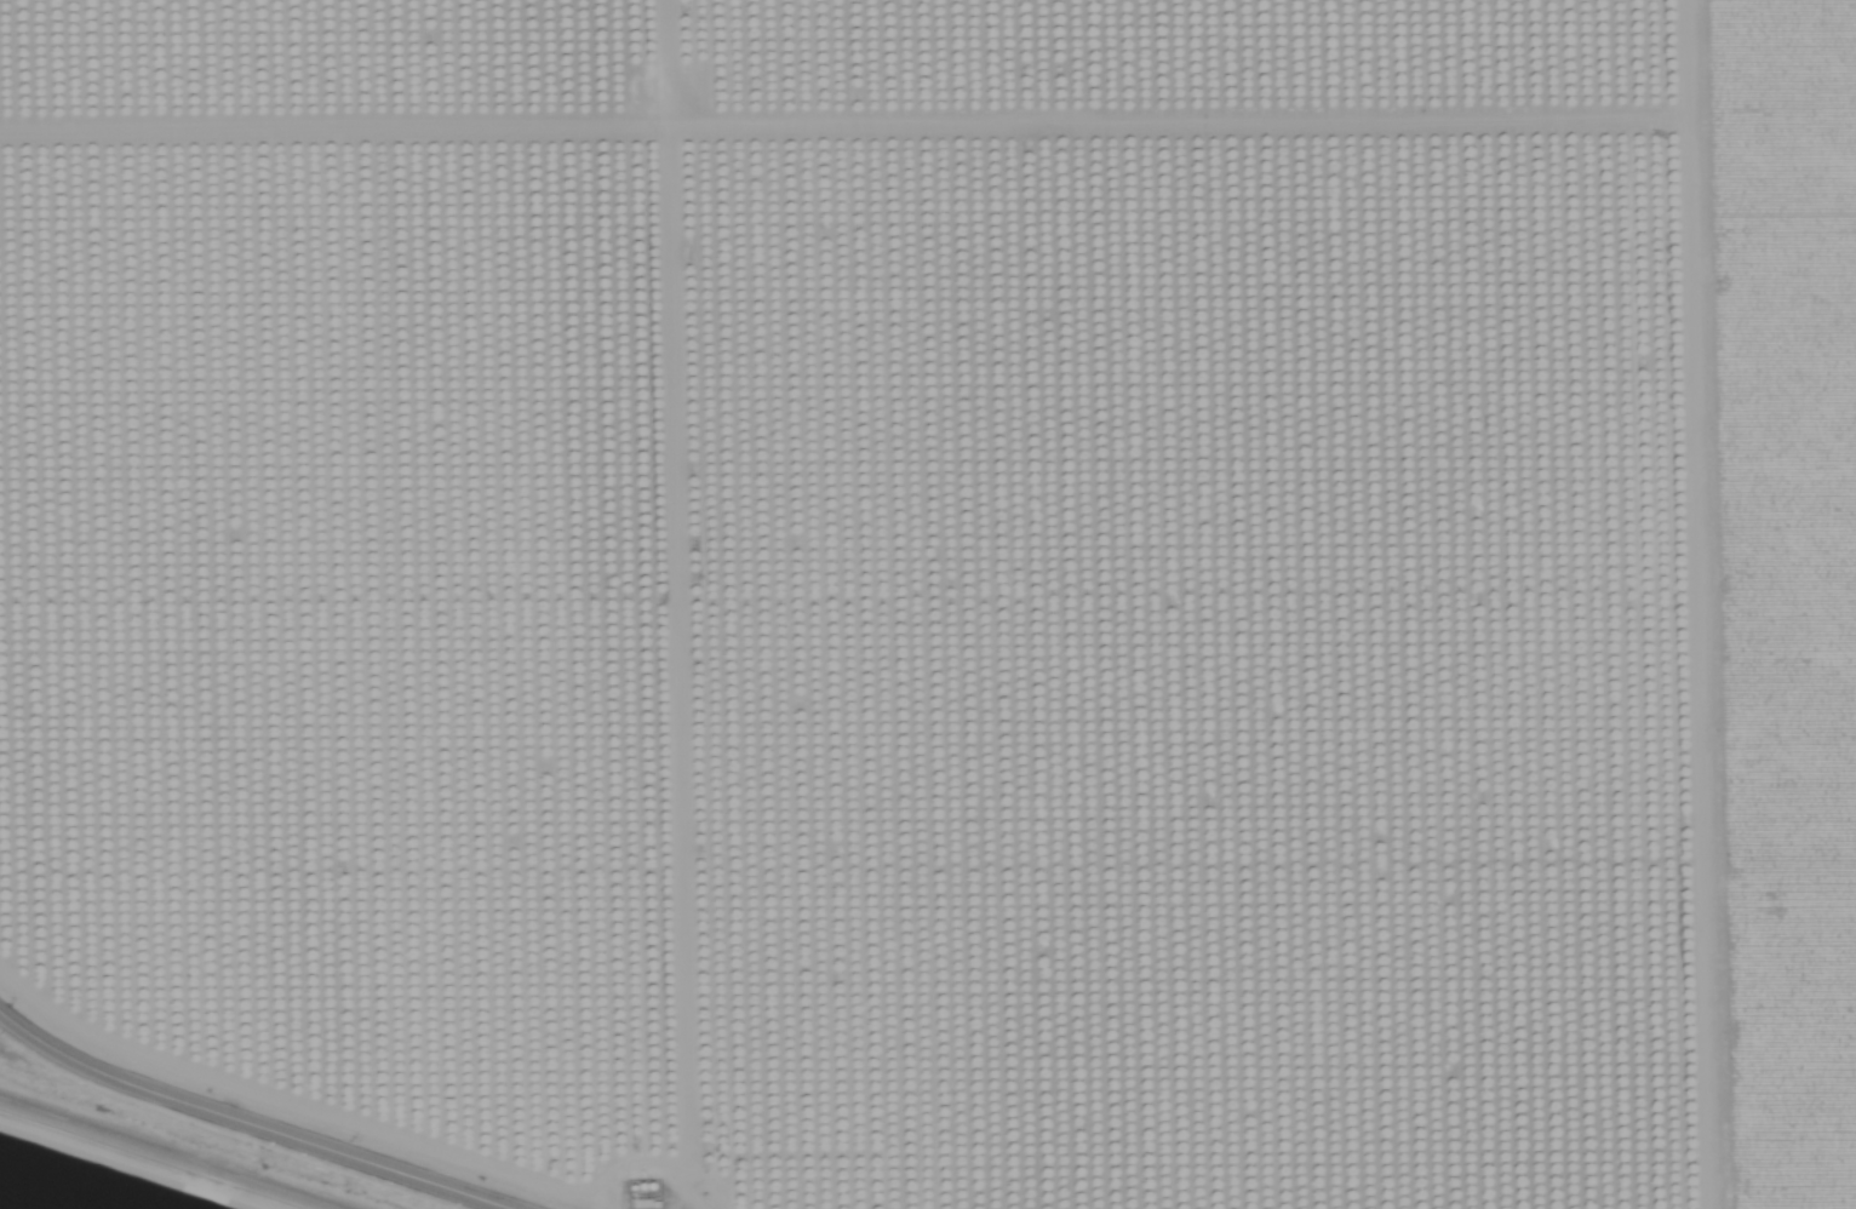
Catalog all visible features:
crop: (946, 591)
road: (322, 1088)

